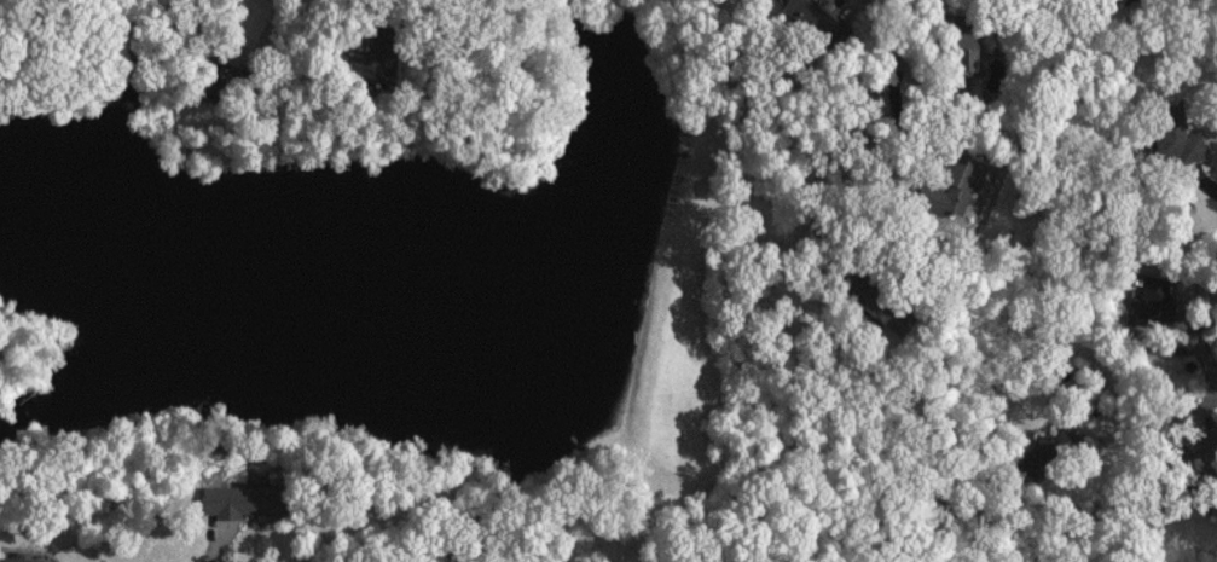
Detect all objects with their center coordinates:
building: (804, 10)
road: (315, 12)
road: (1209, 24)
road: (869, 99)
building: (1181, 144)
building: (958, 184)
building: (1153, 299)
road: (1155, 427)
building: (1055, 445)
building: (242, 502)
building: (22, 560)

